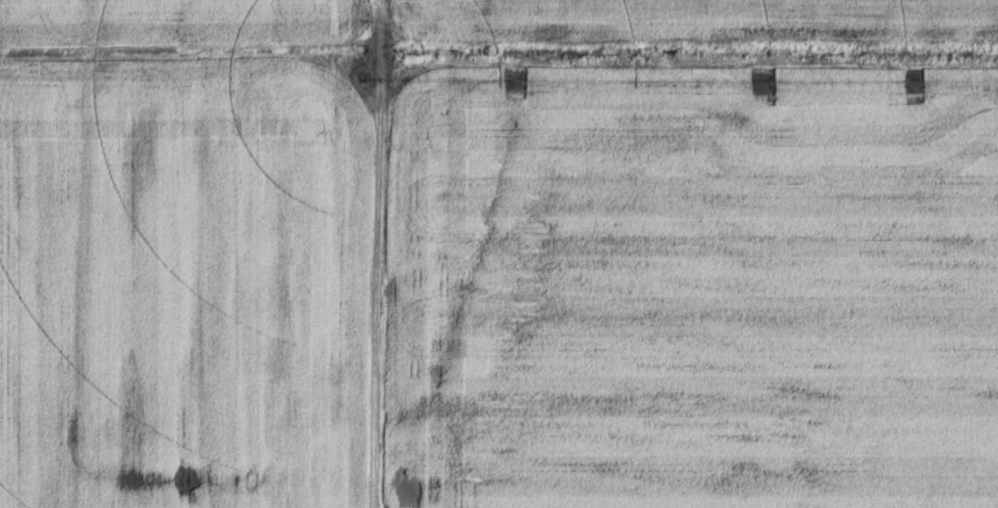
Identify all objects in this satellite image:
road: (375, 276)

